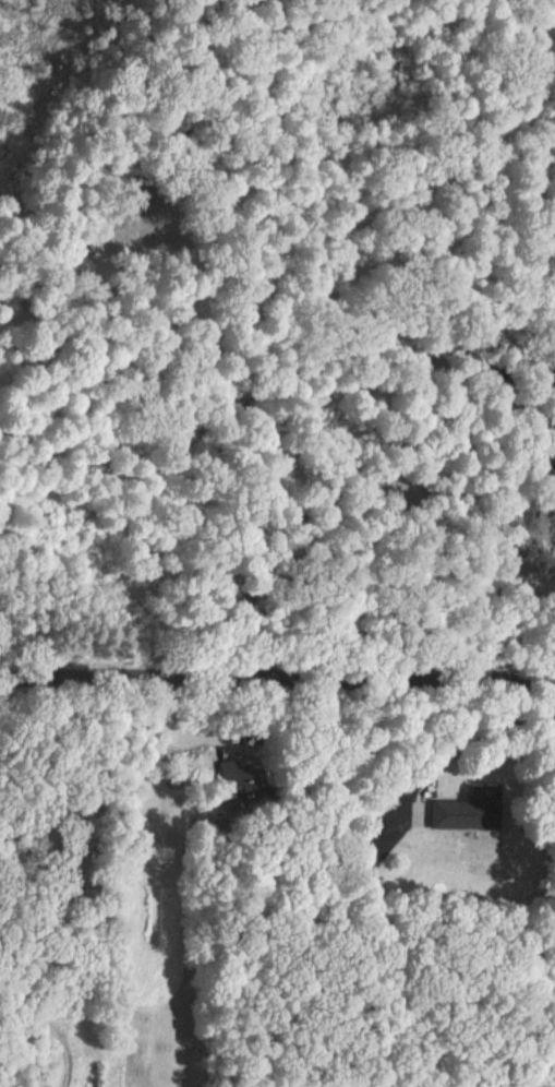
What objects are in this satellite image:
road: (277, 678)
road: (457, 738)
building: (478, 807)

